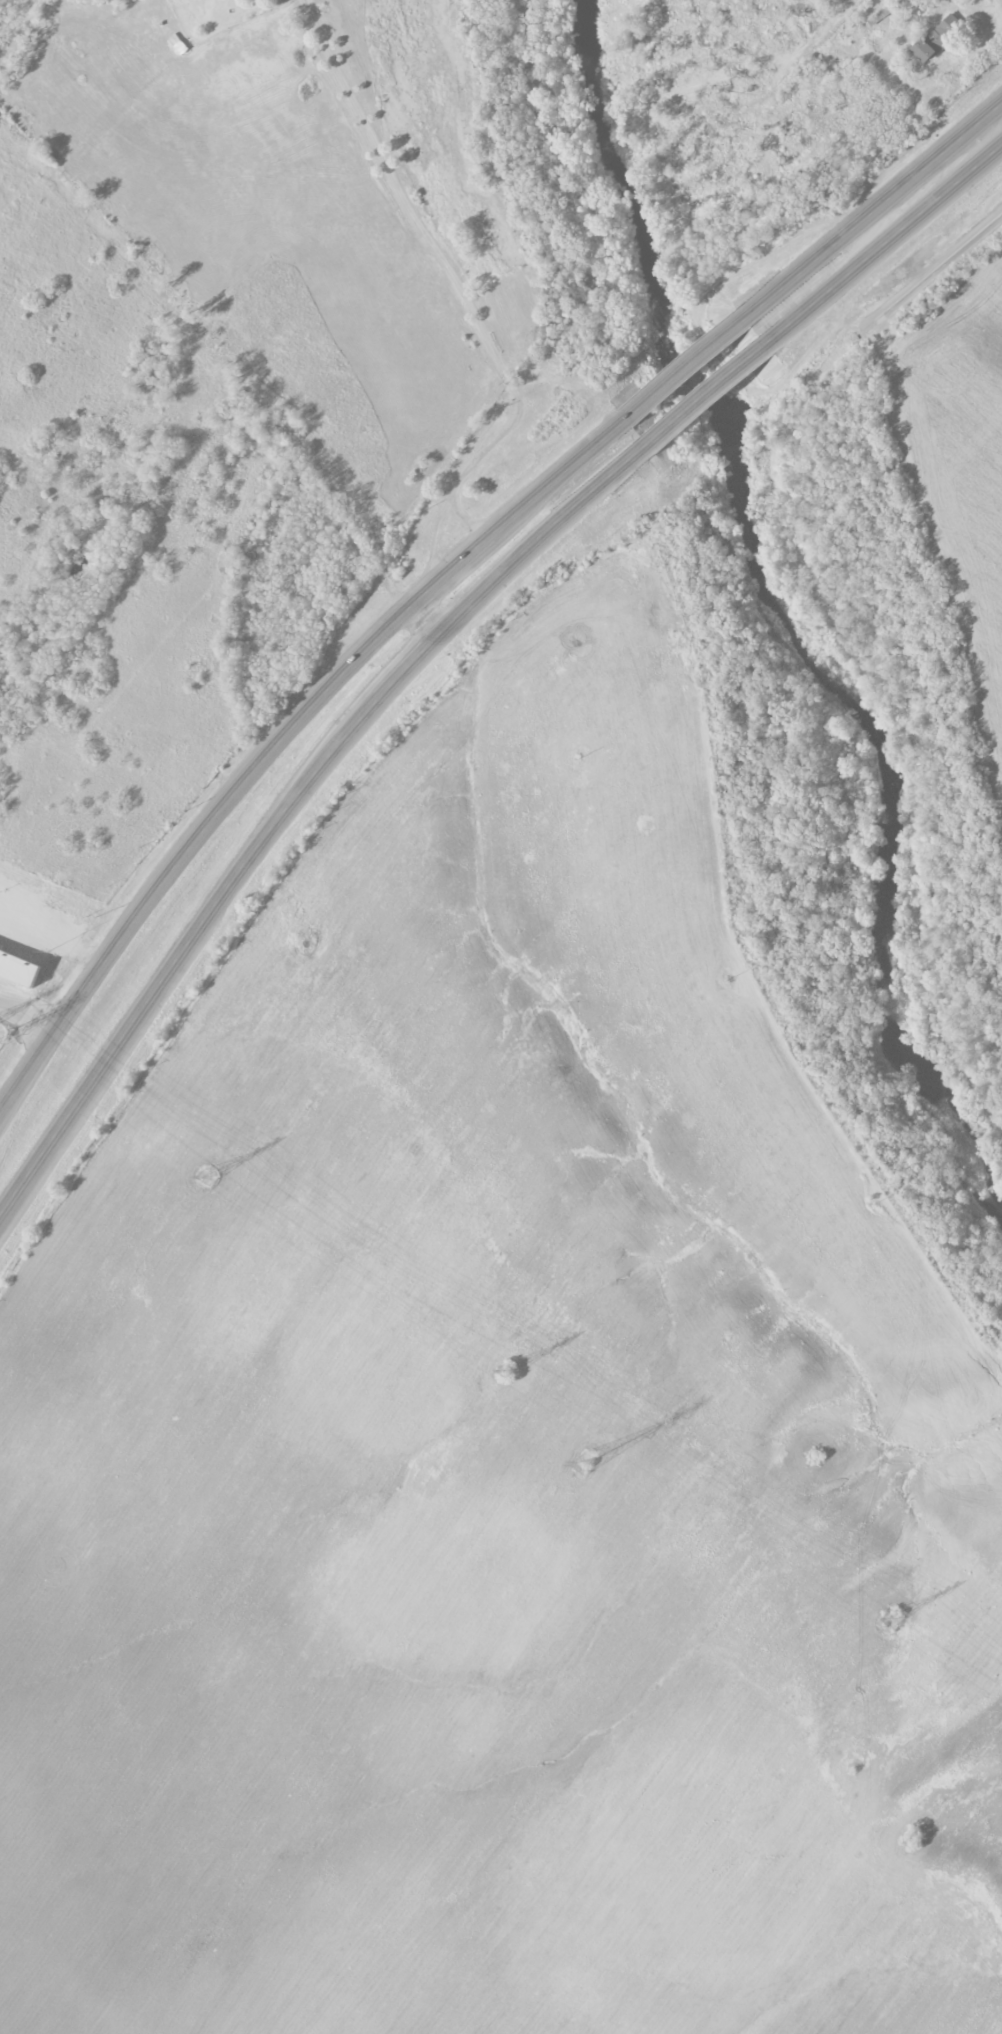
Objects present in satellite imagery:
building: (940, 37)
road: (873, 212)
road: (882, 248)
road: (934, 270)
road: (462, 290)
road: (685, 364)
road: (706, 396)
road: (466, 517)
road: (421, 621)
road: (282, 735)
road: (290, 800)
building: (20, 967)
road: (26, 1020)
power tower: (204, 1175)
power tower: (502, 1369)
power tower: (583, 1462)
power tower: (890, 1619)

